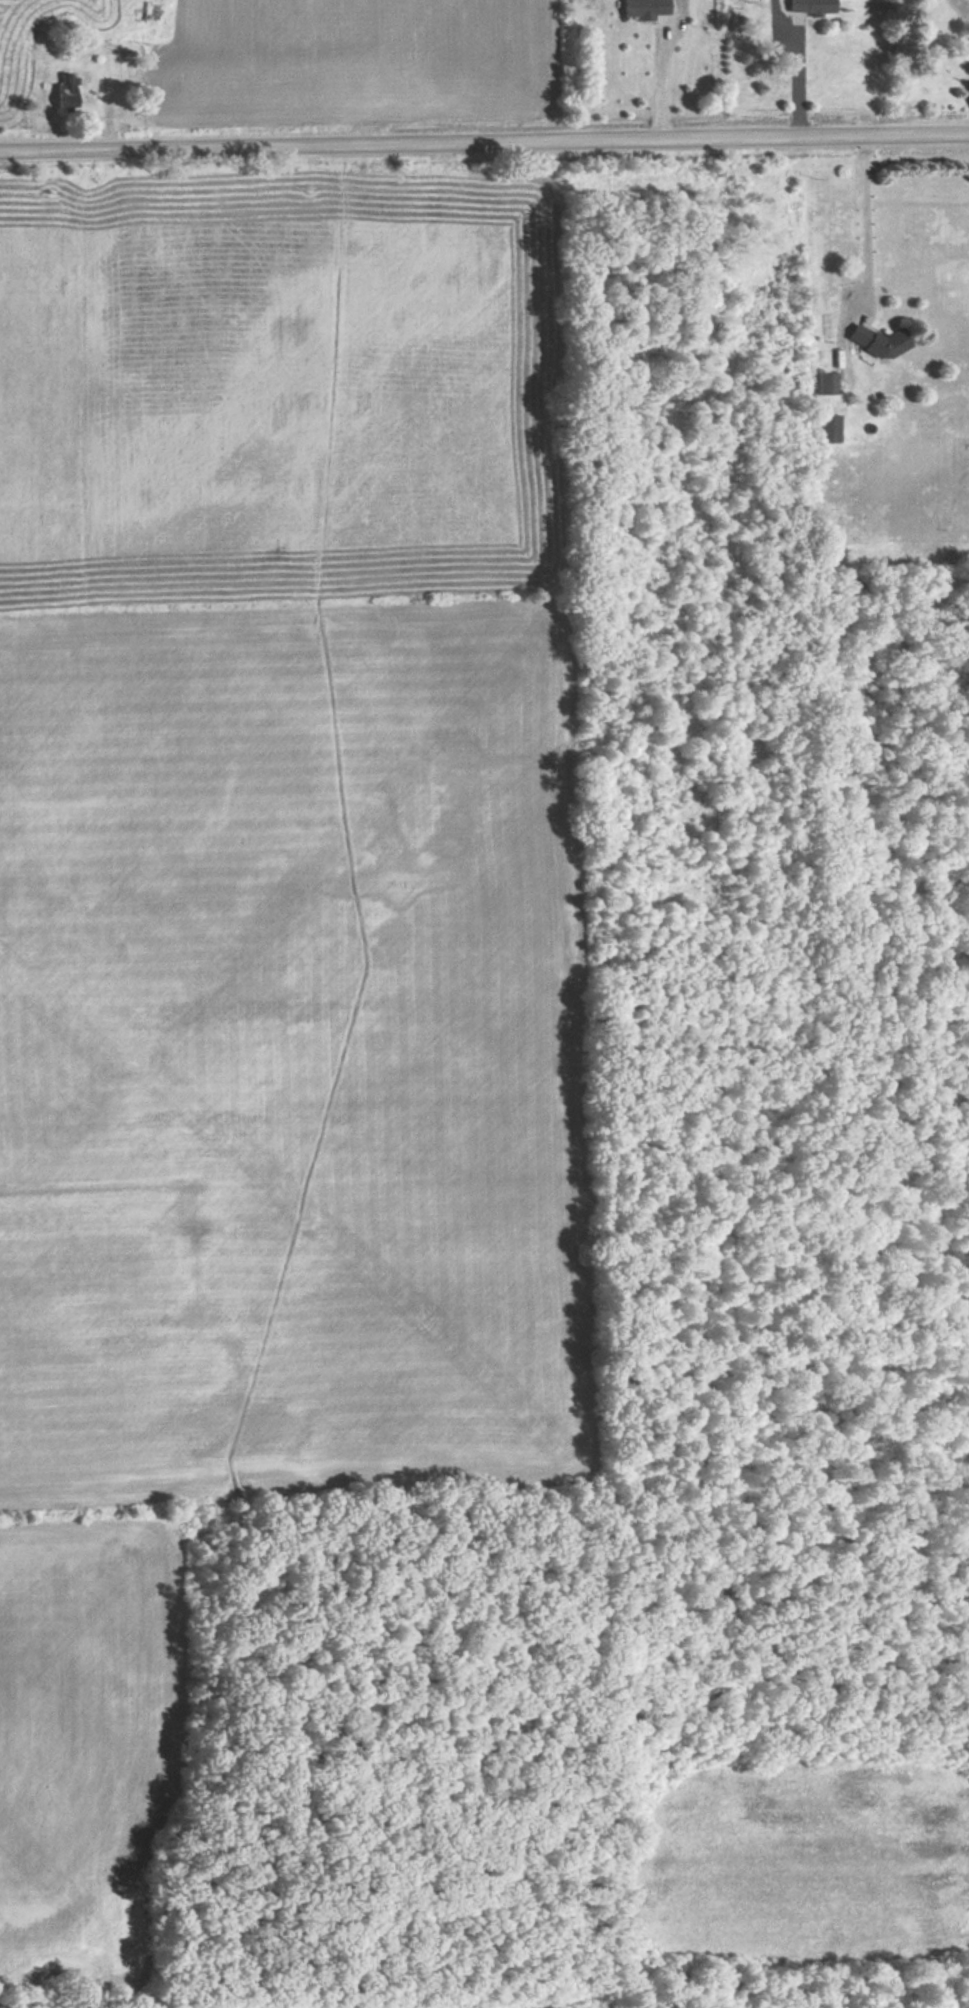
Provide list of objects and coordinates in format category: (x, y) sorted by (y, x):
building: (805, 6)
building: (639, 8)
road: (666, 63)
road: (798, 77)
building: (62, 91)
road: (484, 141)
road: (867, 221)
building: (876, 343)
building: (823, 382)
building: (822, 427)

